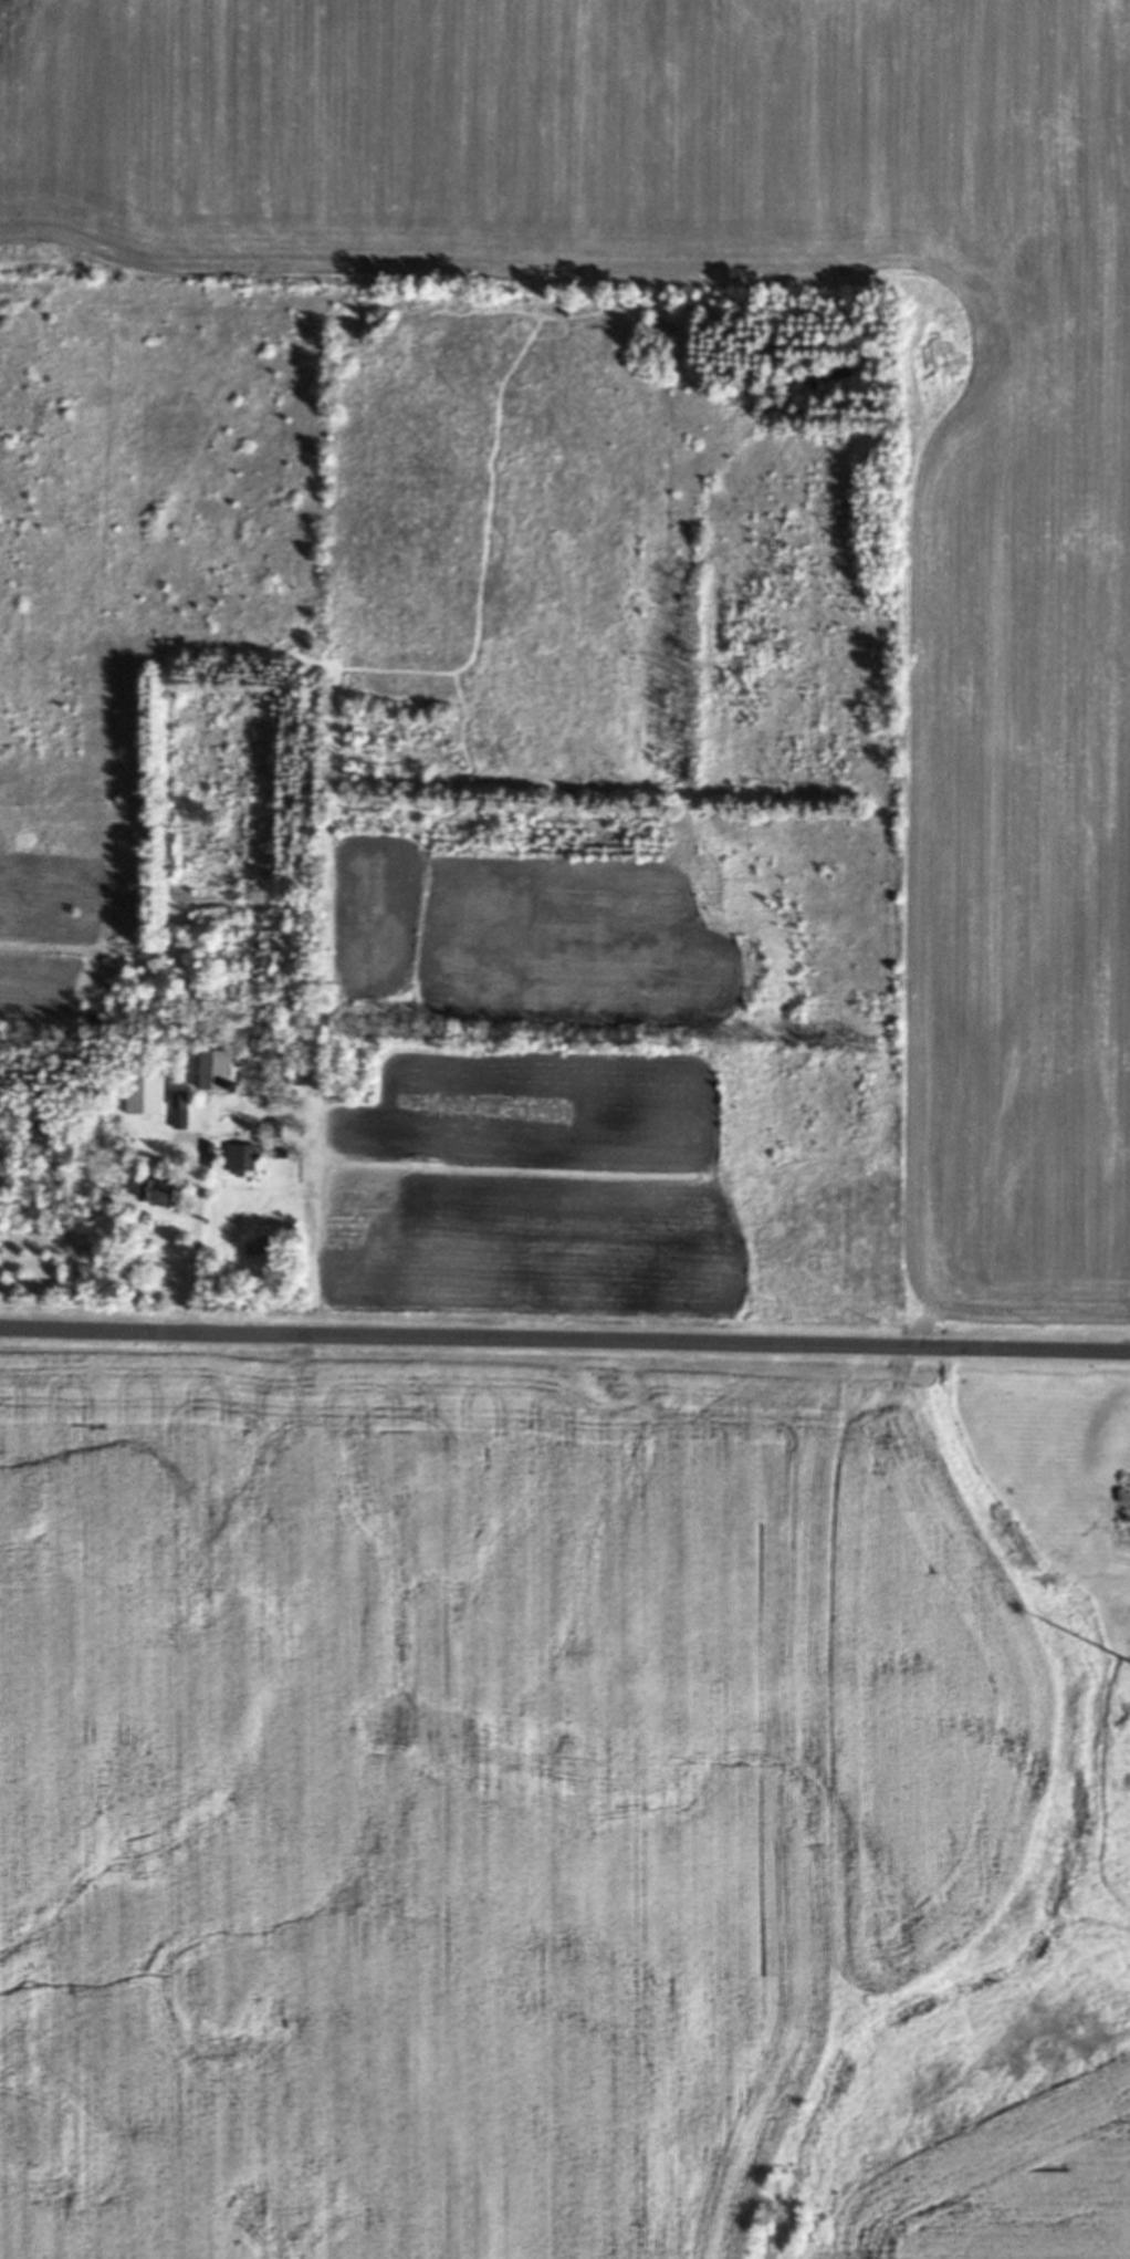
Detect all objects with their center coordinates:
building: (216, 1070)
building: (146, 1090)
building: (181, 1110)
building: (274, 1129)
building: (242, 1158)
building: (159, 1193)
road: (565, 1335)

